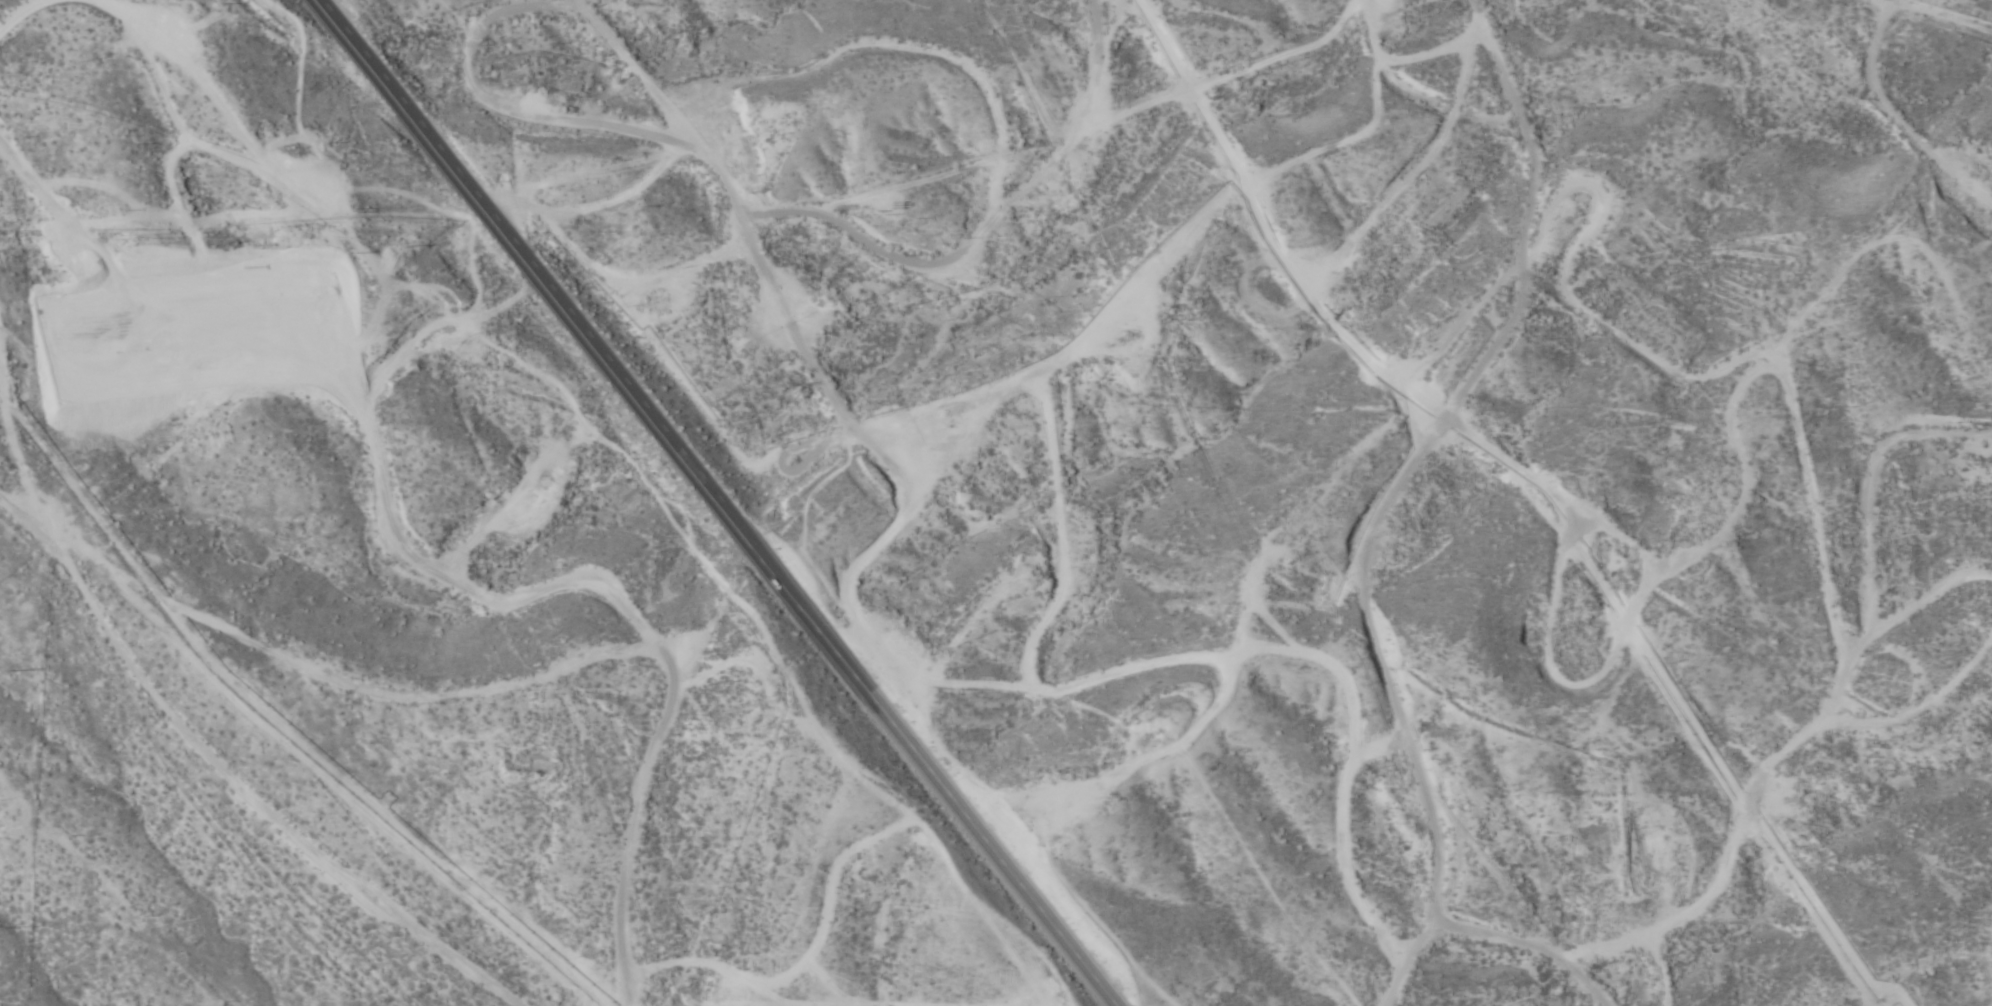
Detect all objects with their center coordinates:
road: (721, 503)
road: (1375, 532)

